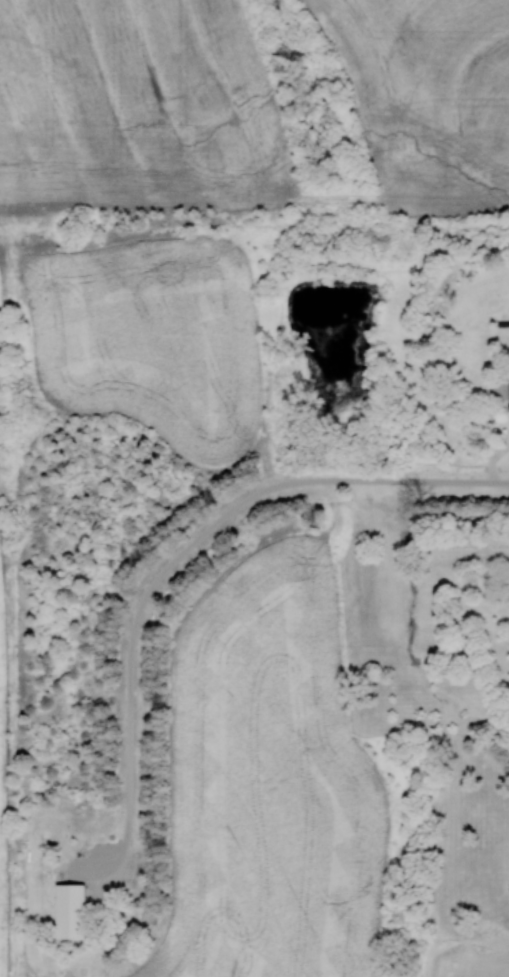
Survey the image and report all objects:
crop: (428, 98)
crop: (138, 108)
crop: (152, 338)
road: (315, 480)
road: (434, 481)
road: (131, 650)
crop: (269, 782)
crop: (0, 903)
building: (70, 911)

